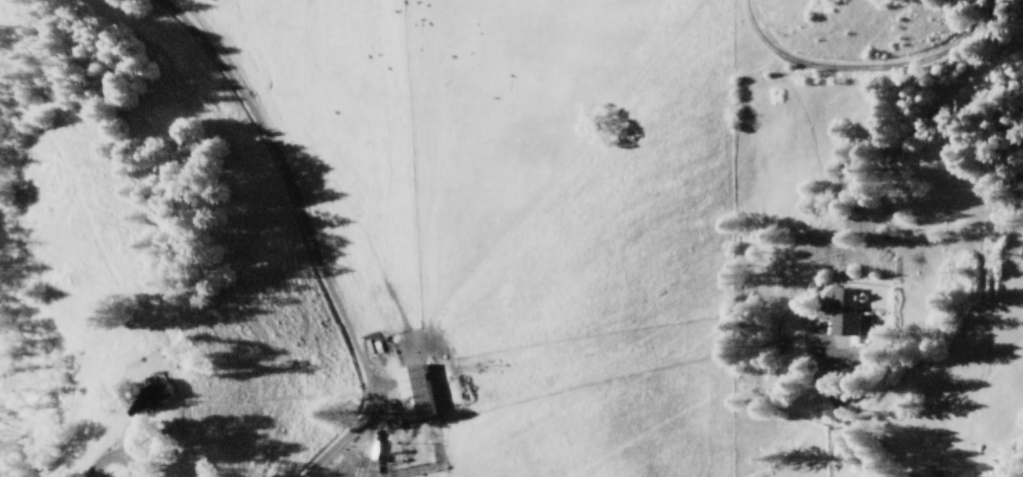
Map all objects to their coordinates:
road: (865, 67)
building: (843, 310)
building: (412, 389)
building: (132, 394)
road: (870, 447)

